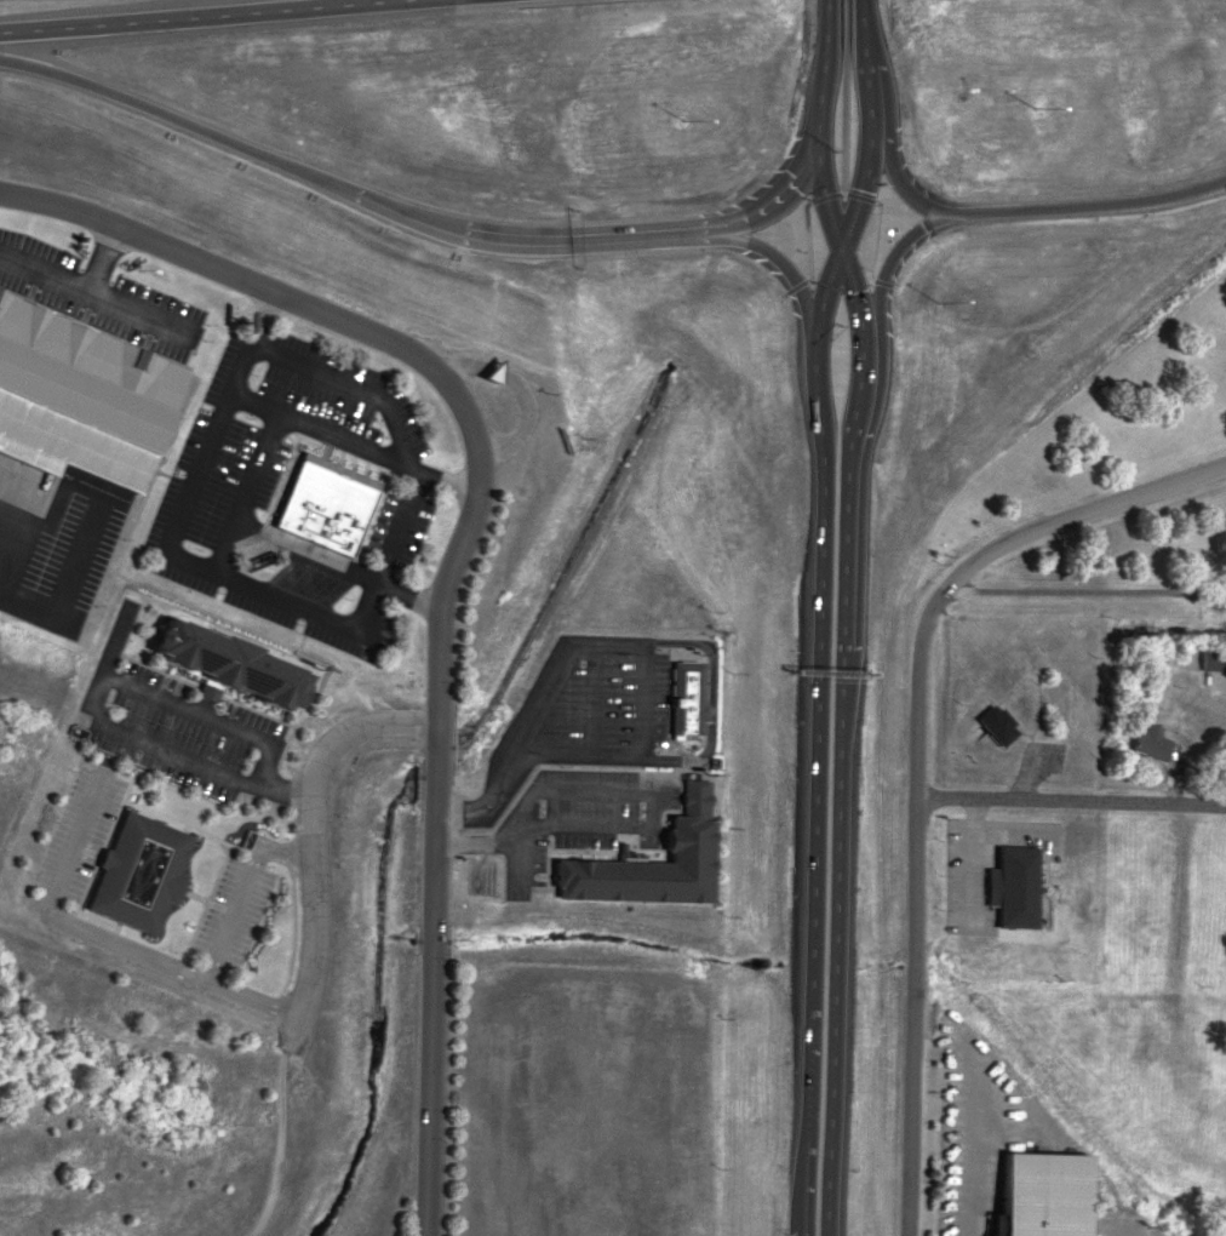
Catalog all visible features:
road: (176, 15)
road: (844, 93)
road: (219, 138)
road: (818, 174)
road: (896, 174)
road: (859, 177)
road: (781, 187)
road: (823, 194)
road: (861, 195)
road: (1085, 210)
road: (583, 239)
road: (803, 239)
road: (873, 241)
traffic signals: (843, 254)
road: (888, 269)
road: (45, 273)
road: (792, 275)
road: (882, 280)
road: (791, 281)
road: (107, 299)
road: (268, 307)
road: (356, 382)
building: (81, 399)
road: (339, 434)
road: (217, 440)
road: (460, 486)
building: (323, 509)
road: (297, 548)
road: (391, 551)
road: (454, 556)
road: (1087, 590)
road: (264, 593)
road: (422, 601)
building: (1213, 657)
road: (111, 665)
building: (223, 665)
road: (325, 676)
building: (682, 699)
road: (191, 710)
building: (995, 722)
parking lot: (184, 732)
building: (1148, 740)
road: (918, 753)
road: (178, 754)
road: (519, 755)
road: (270, 762)
road: (280, 784)
road: (841, 788)
road: (814, 791)
road: (1071, 800)
road: (81, 834)
road: (314, 840)
road: (280, 851)
building: (646, 864)
building: (138, 874)
building: (1012, 887)
building: (1039, 908)
road: (235, 912)
road: (102, 938)
road: (187, 967)
road: (210, 972)
road: (182, 978)
road: (247, 1000)
road: (972, 1169)
building: (1036, 1198)

